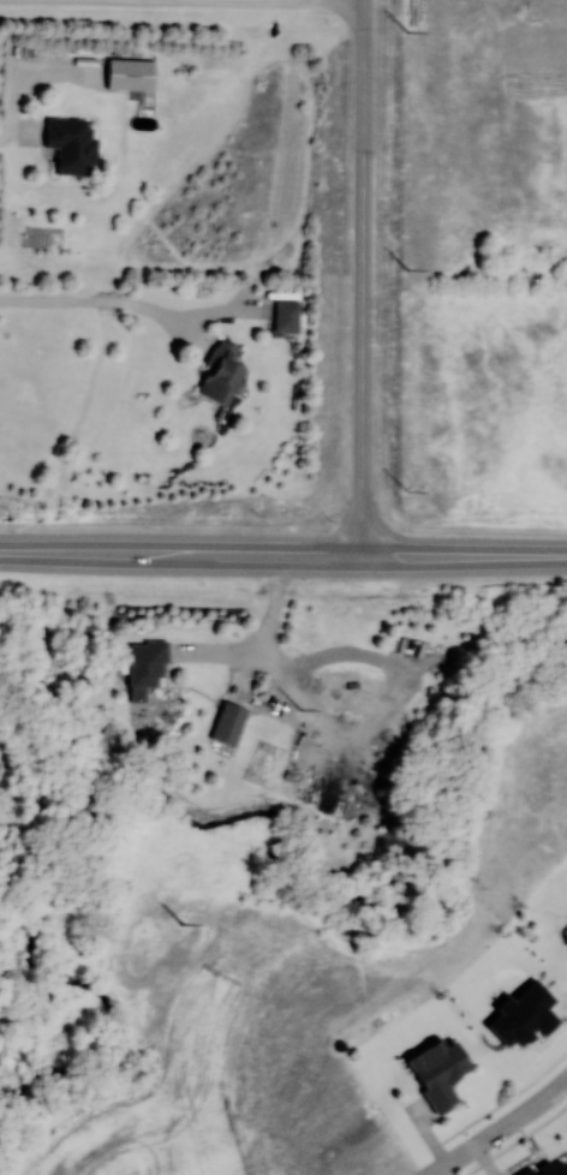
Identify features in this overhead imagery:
power tower: (407, 34)
building: (129, 74)
building: (71, 147)
power tower: (407, 273)
road: (362, 279)
road: (96, 303)
building: (286, 316)
building: (220, 375)
power tower: (405, 490)
road: (180, 554)
road: (464, 556)
building: (147, 662)
power tower: (299, 709)
building: (228, 723)
power tower: (184, 926)
road: (500, 1129)

